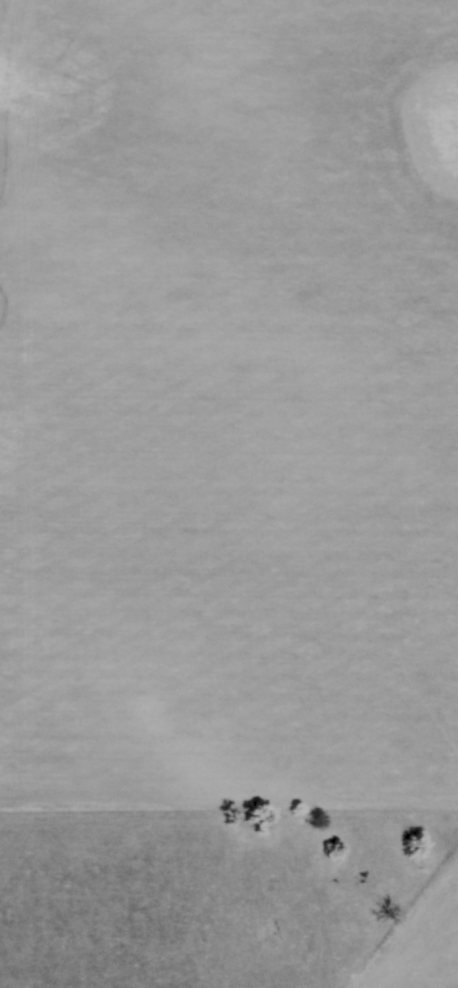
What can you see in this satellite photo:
crop: (229, 401)
crop: (426, 942)

